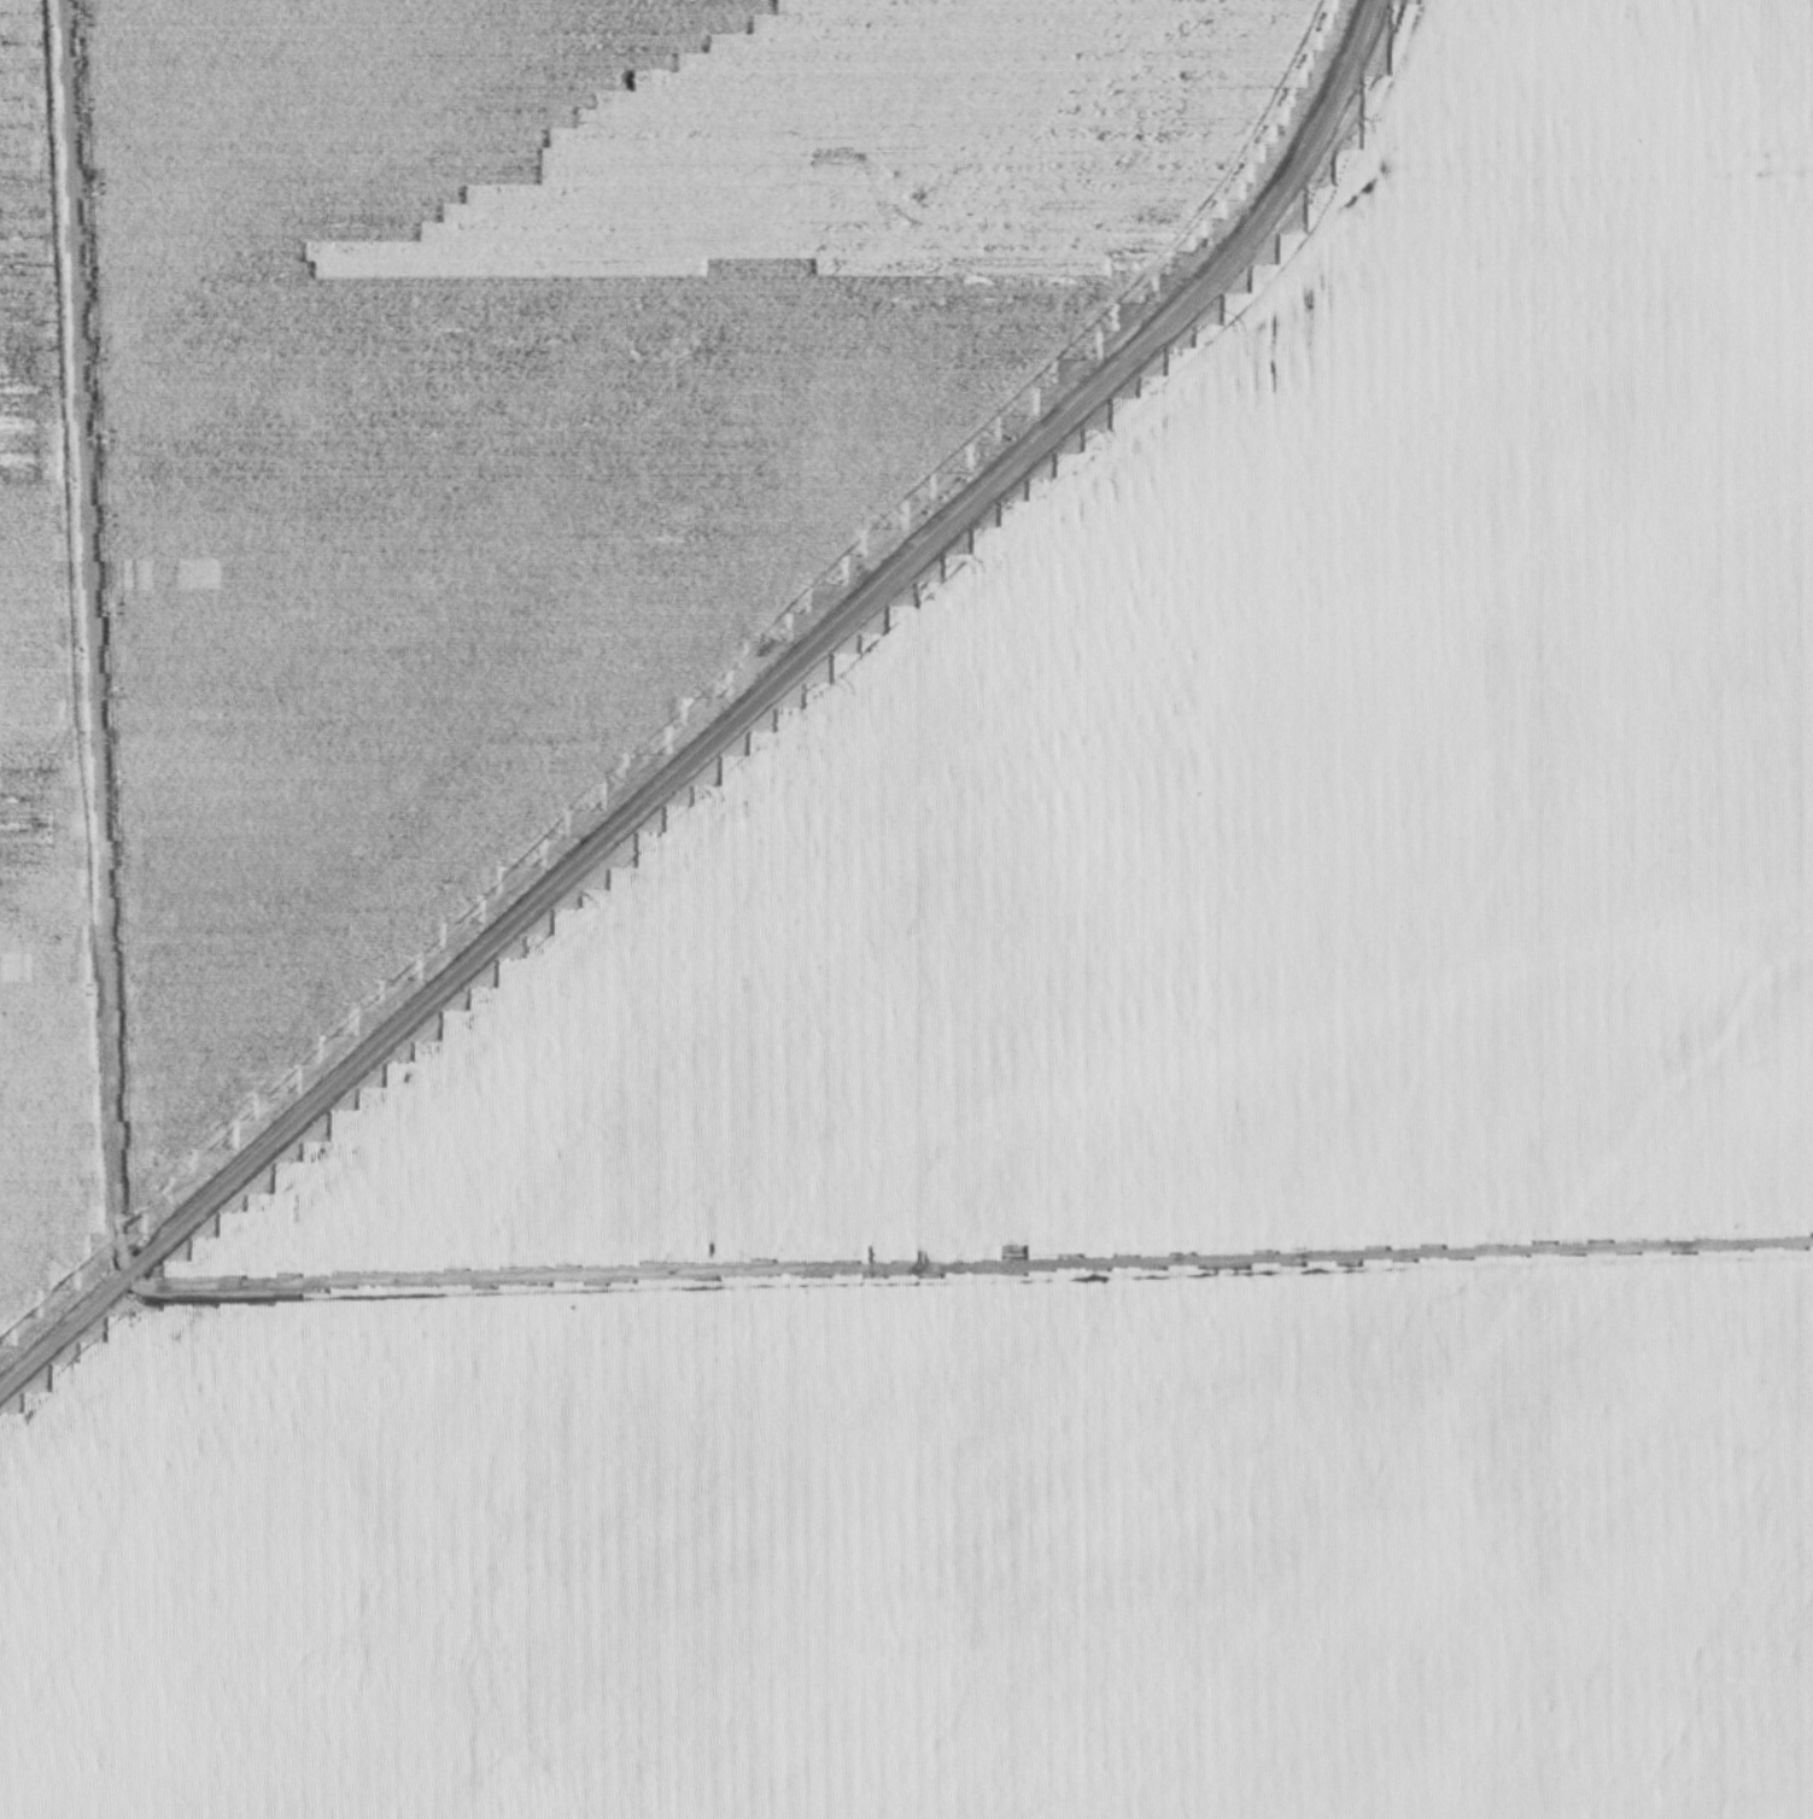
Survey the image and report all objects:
road: (724, 724)

